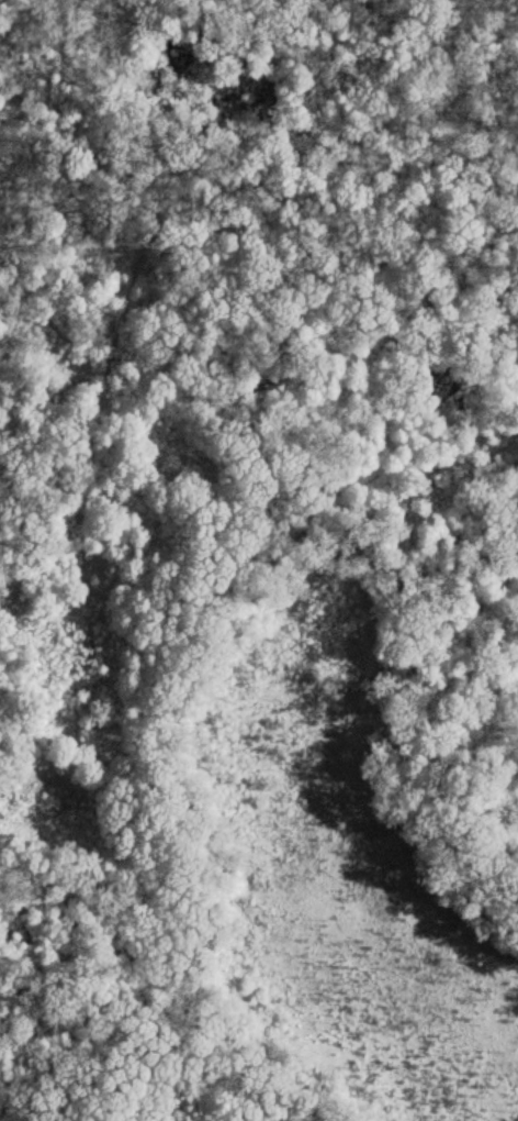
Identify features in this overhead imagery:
road: (138, 203)
road: (121, 352)
road: (391, 609)
park: (256, 992)

